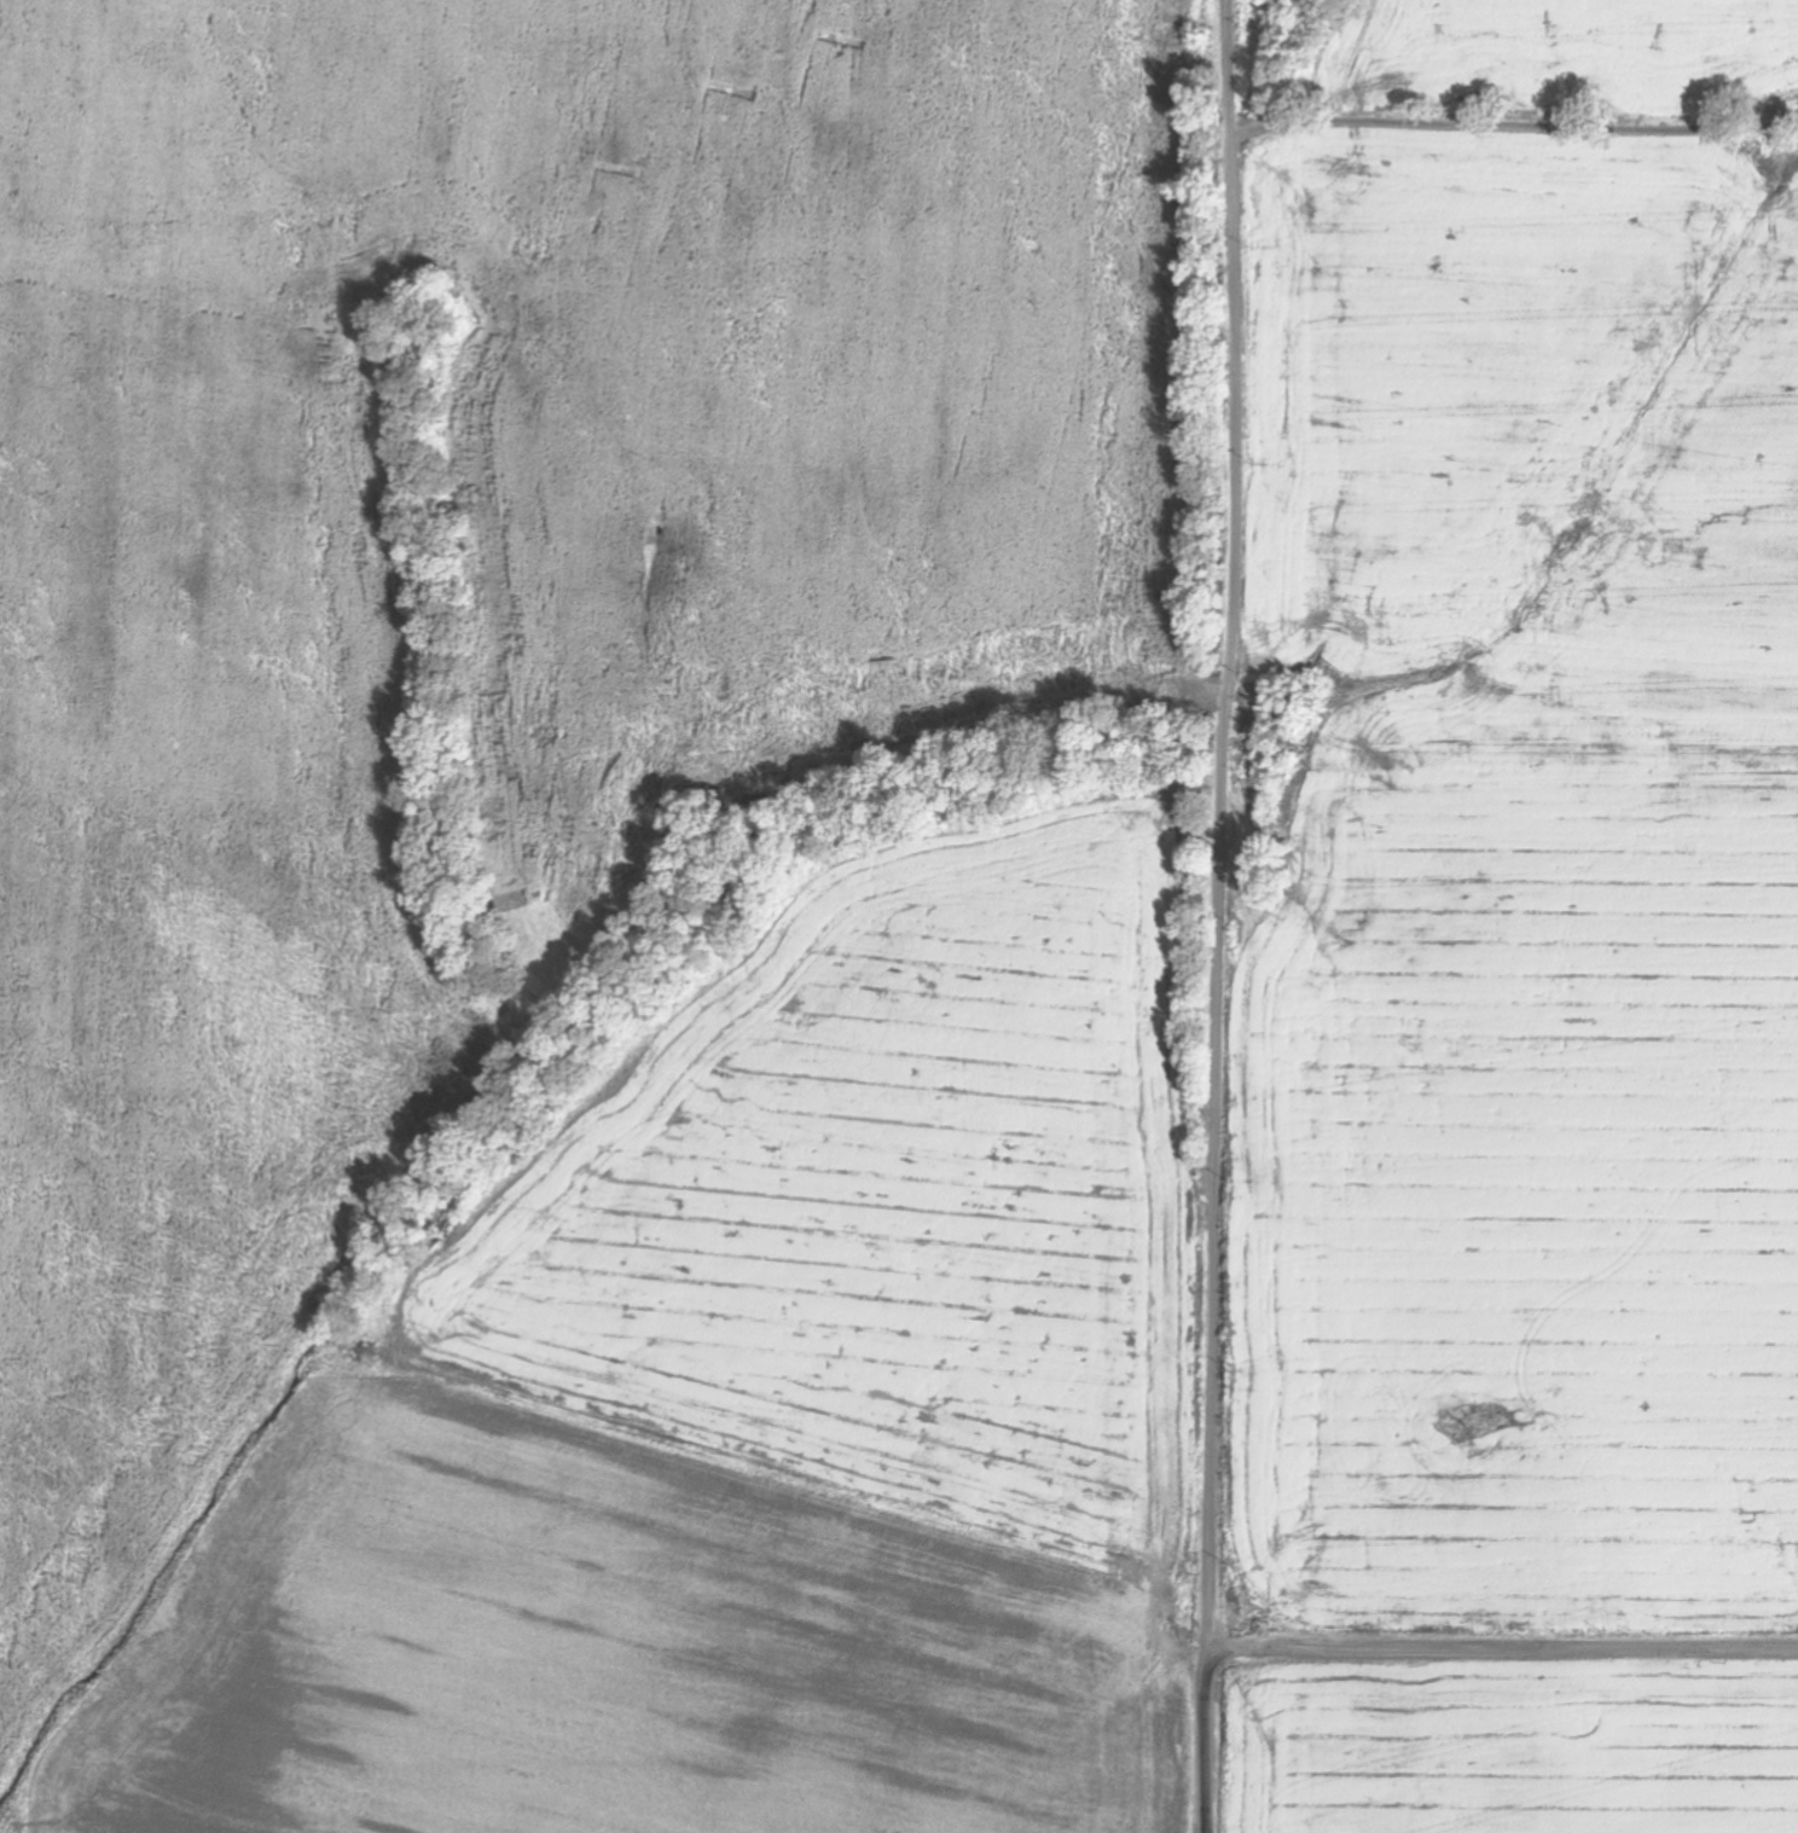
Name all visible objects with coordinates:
road: (1513, 118)
road: (1217, 916)
road: (1503, 1645)

